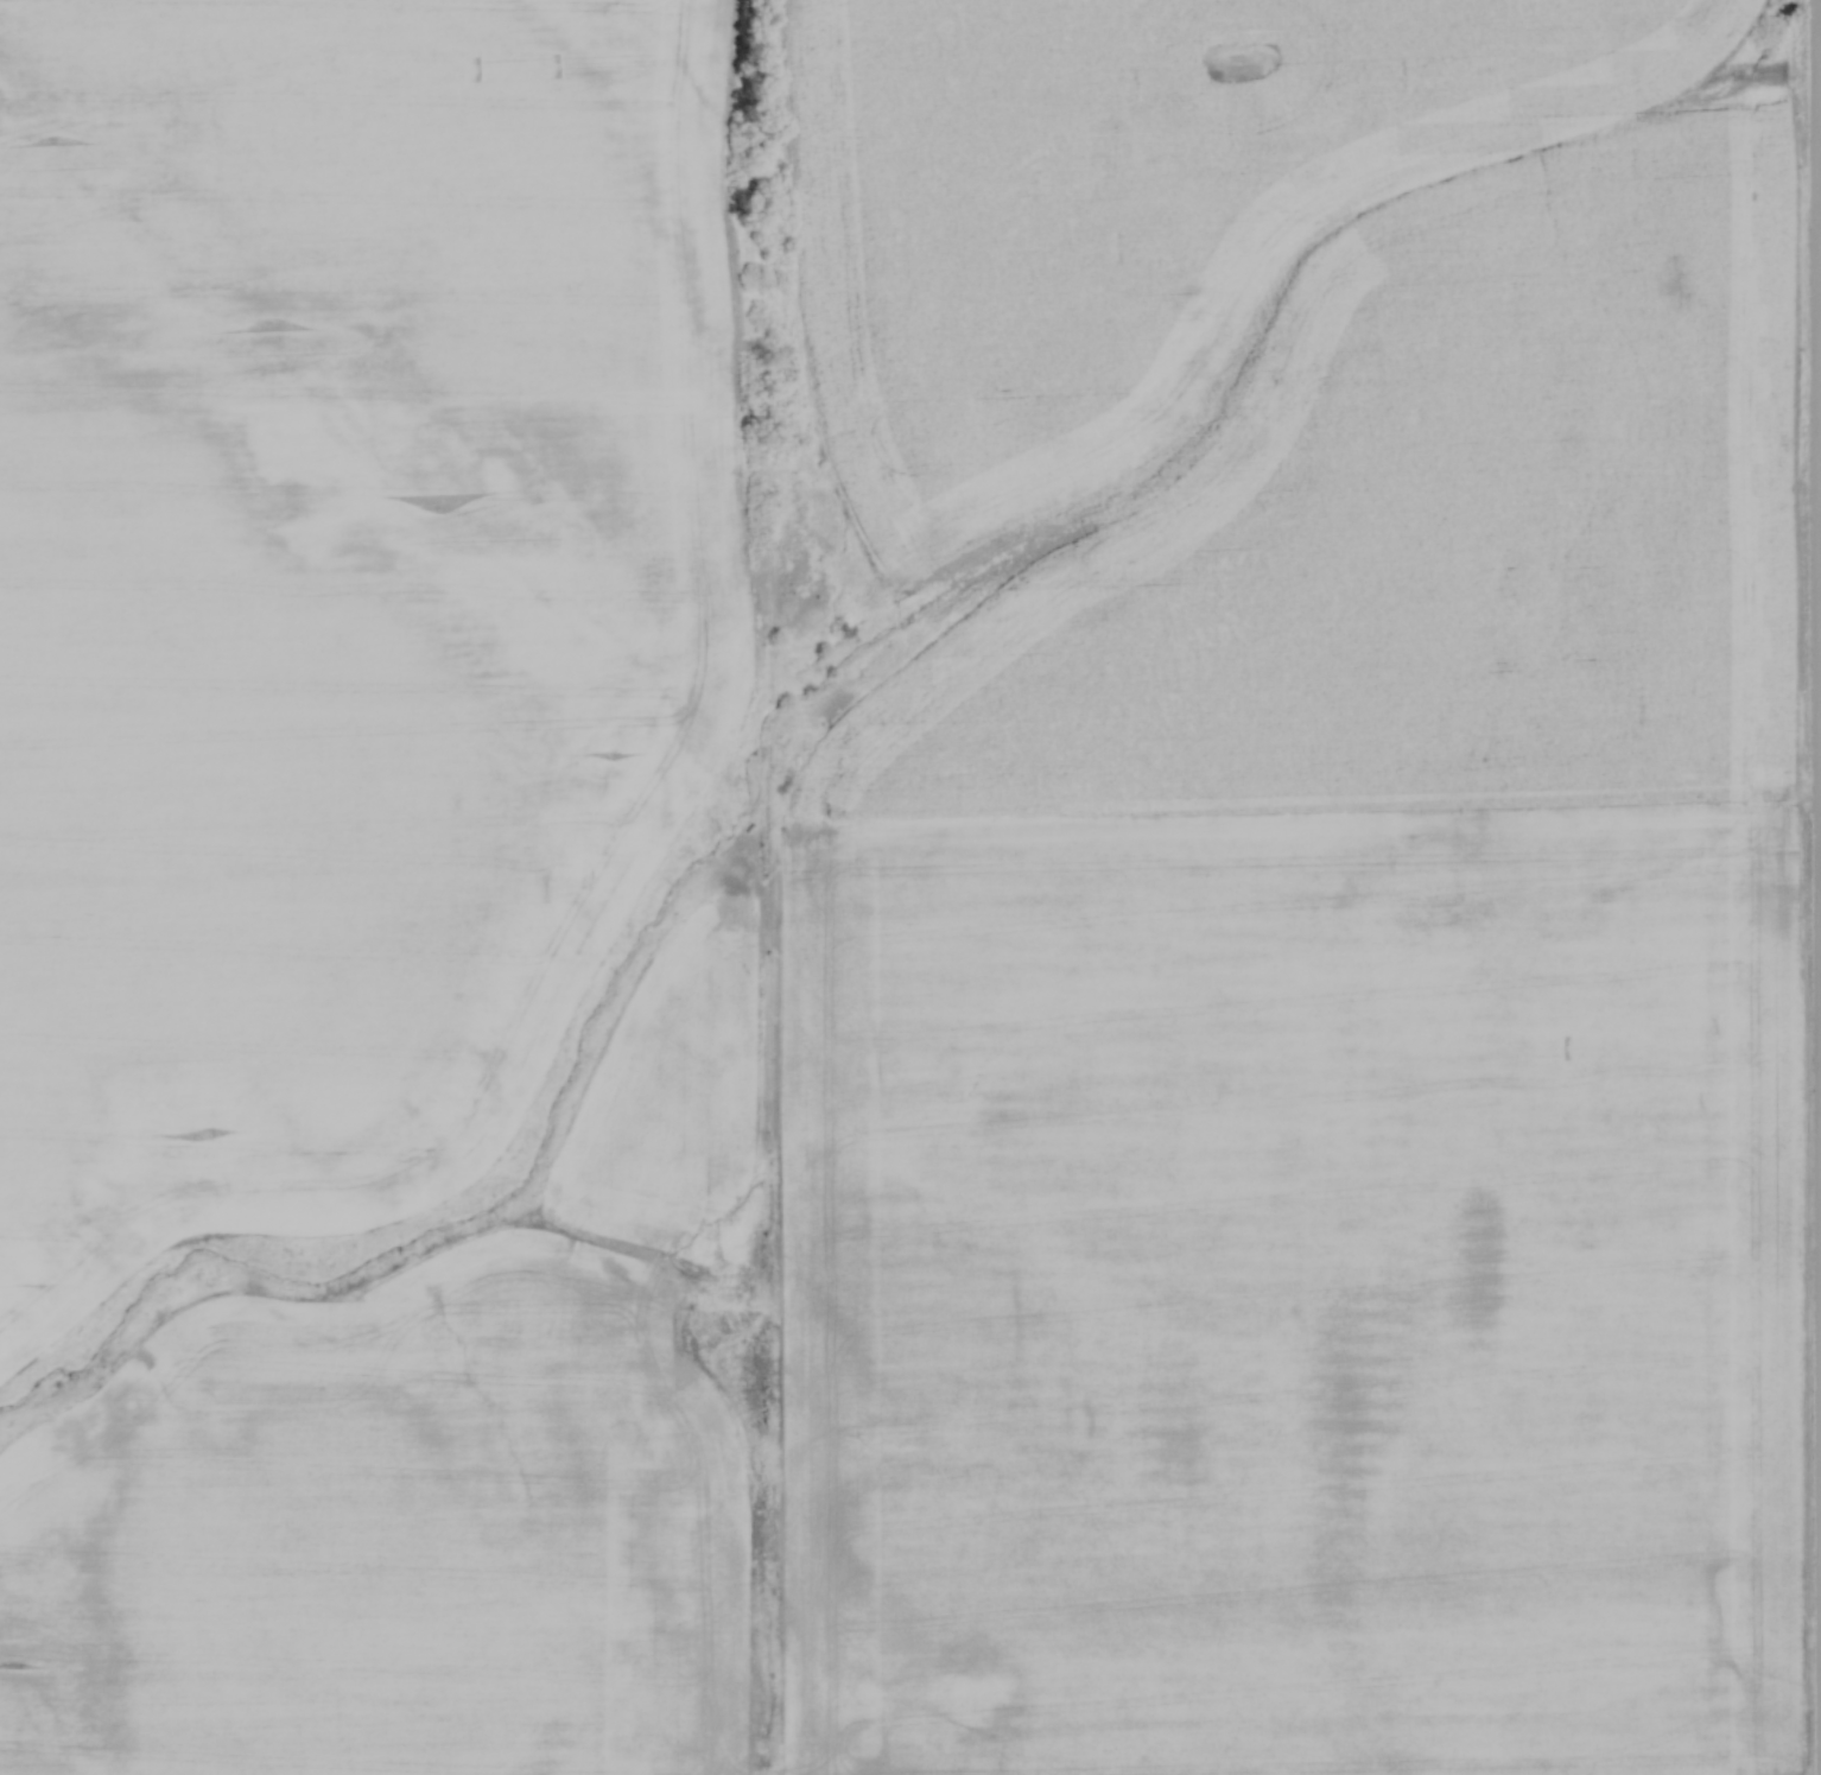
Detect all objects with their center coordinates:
road: (1817, 762)

